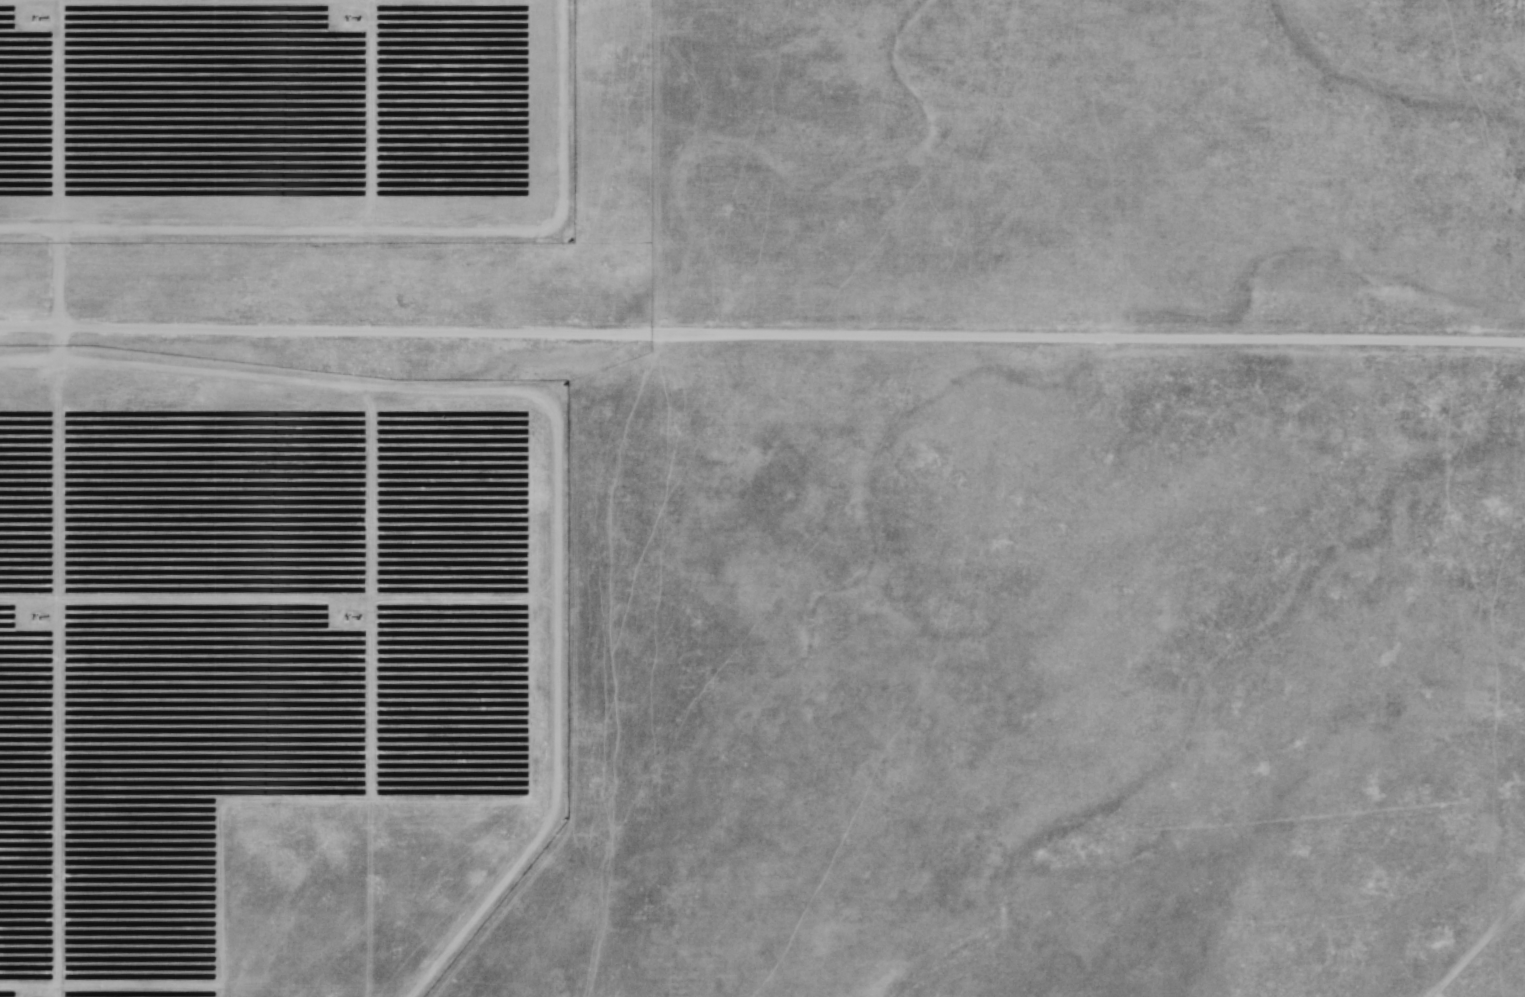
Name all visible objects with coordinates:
road: (762, 335)
solar farm: (328, 499)
road: (1481, 951)

